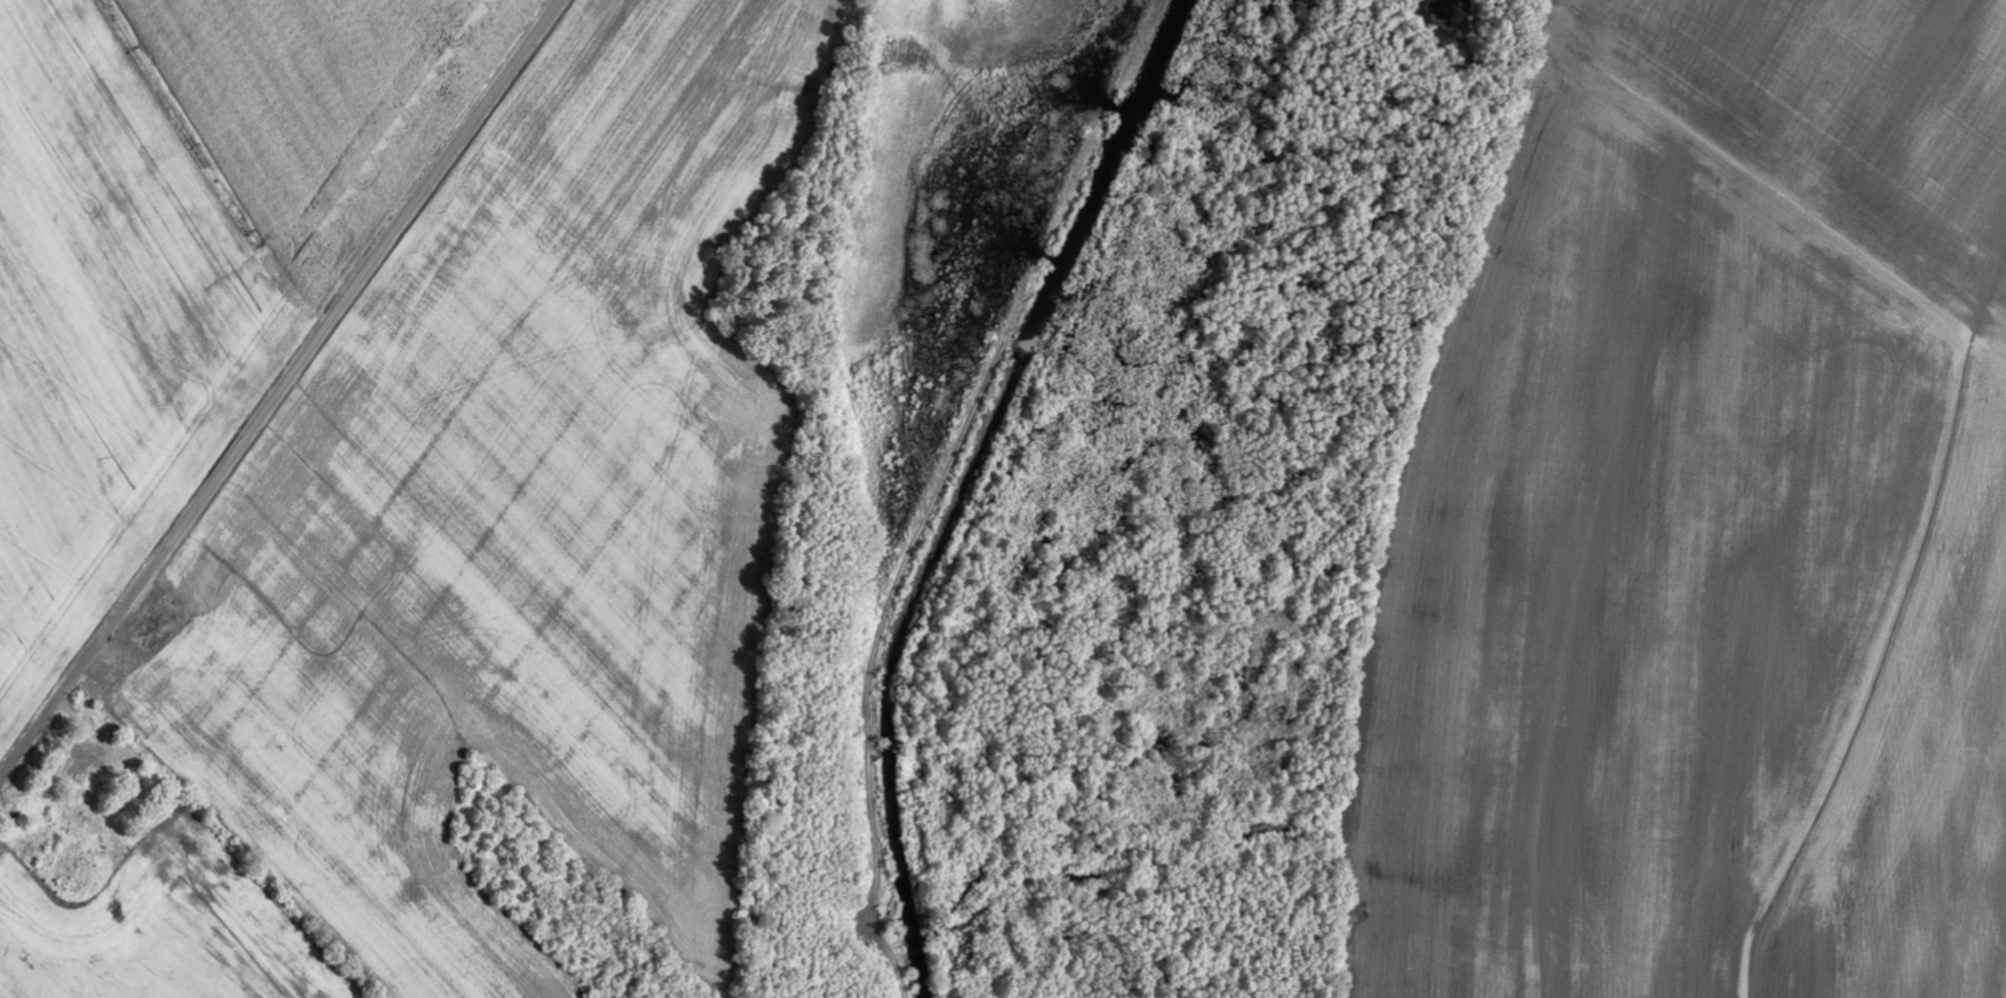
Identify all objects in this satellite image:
road: (281, 390)
building: (86, 761)

